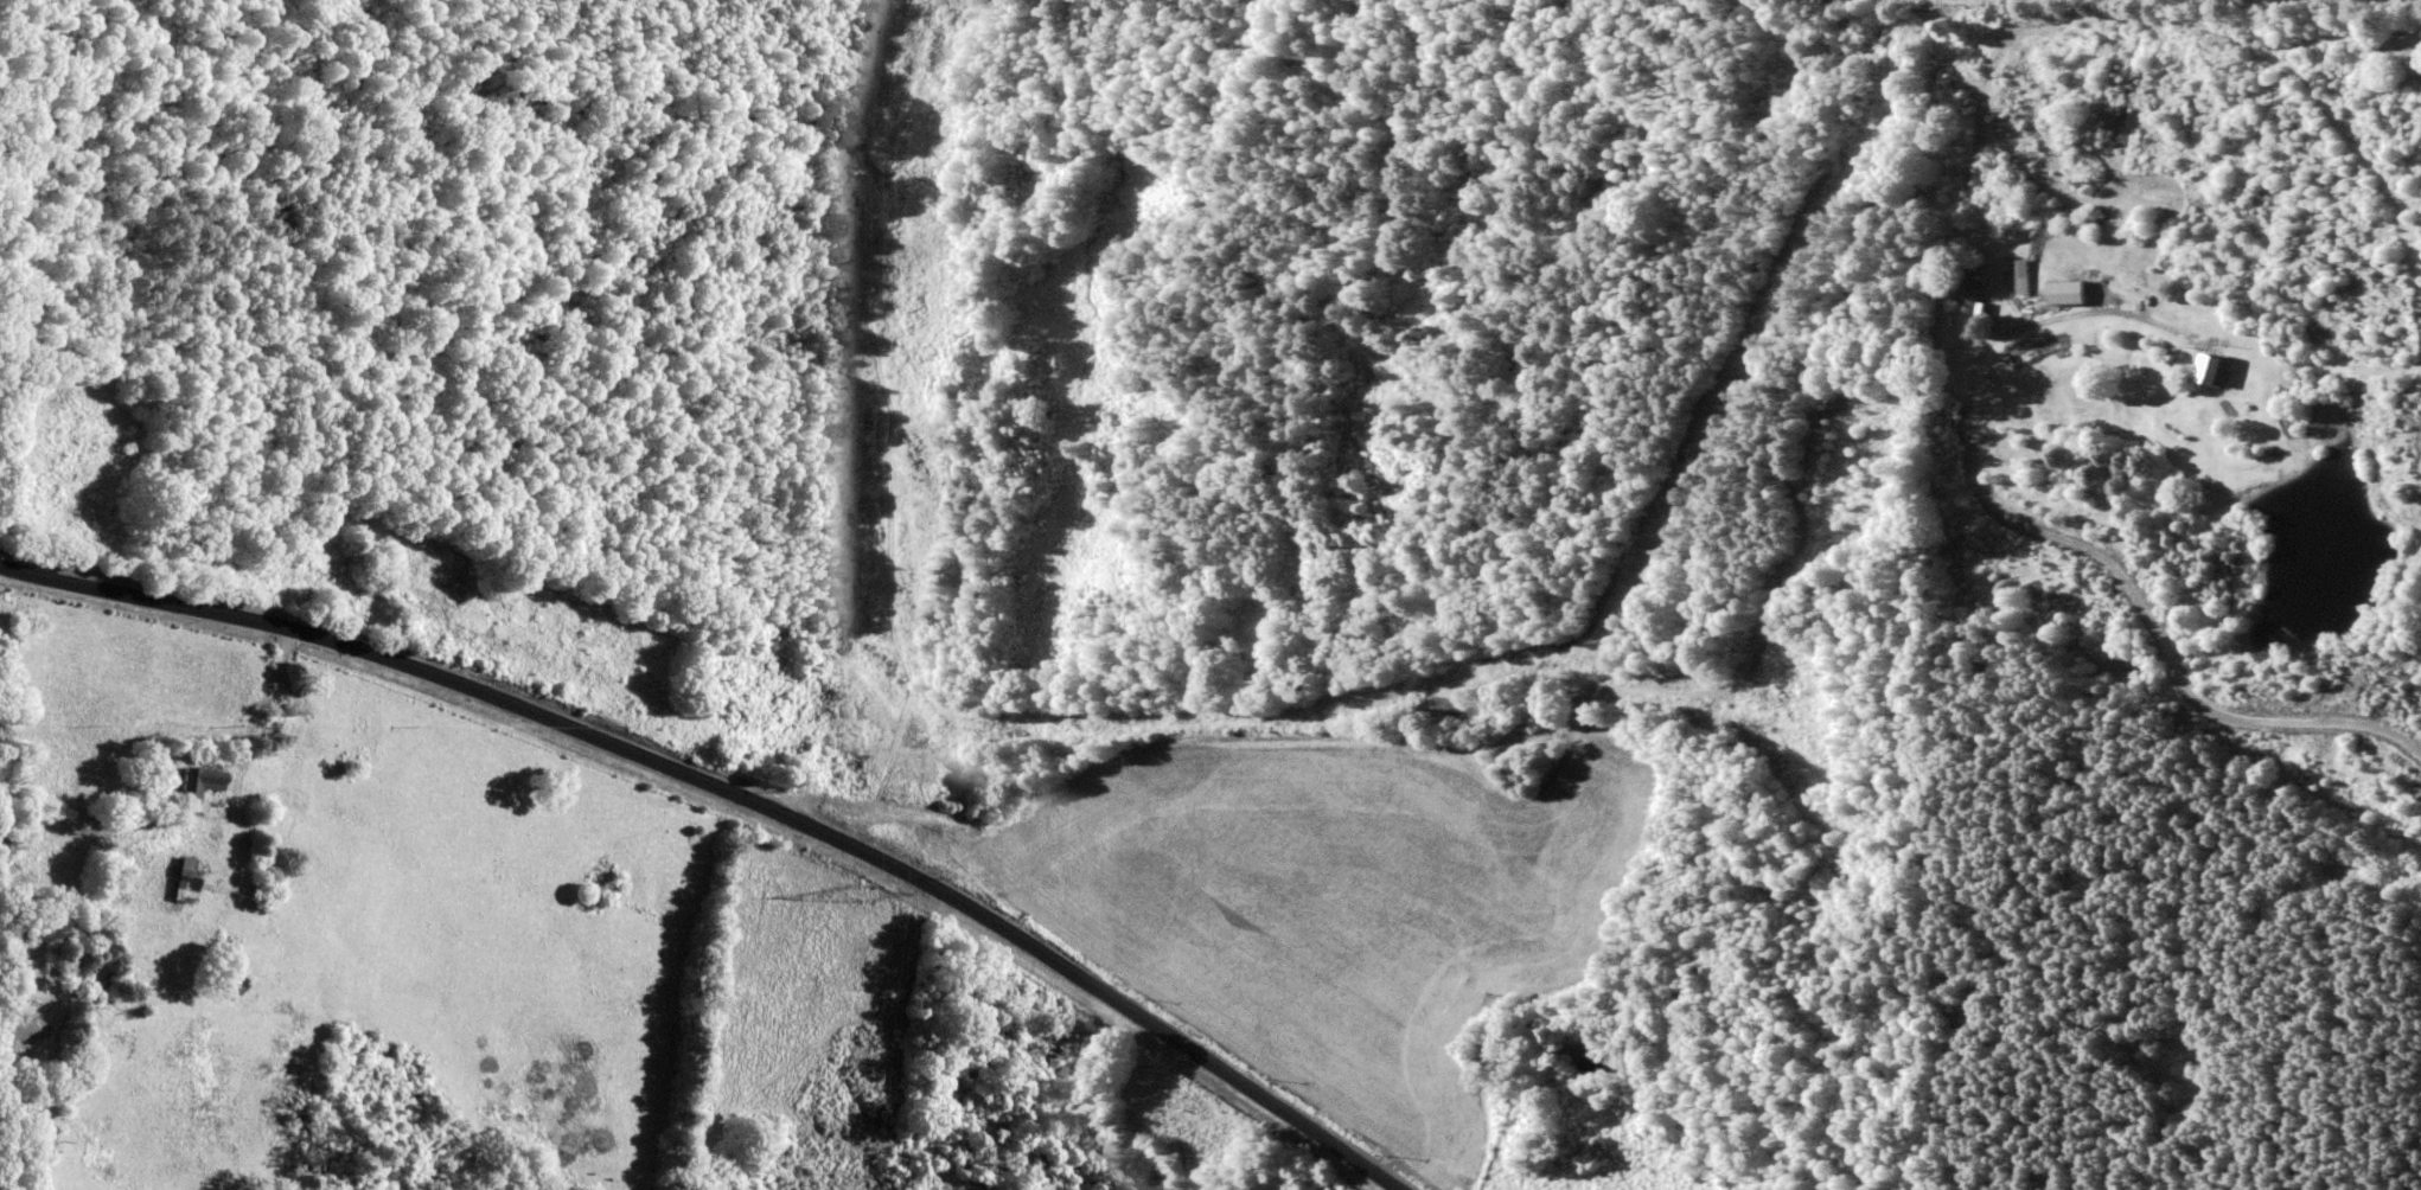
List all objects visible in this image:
building: (1967, 280)
building: (2212, 370)
road: (2067, 535)
road: (1564, 646)
road: (756, 754)
building: (196, 781)
building: (180, 879)
power tower: (862, 895)

